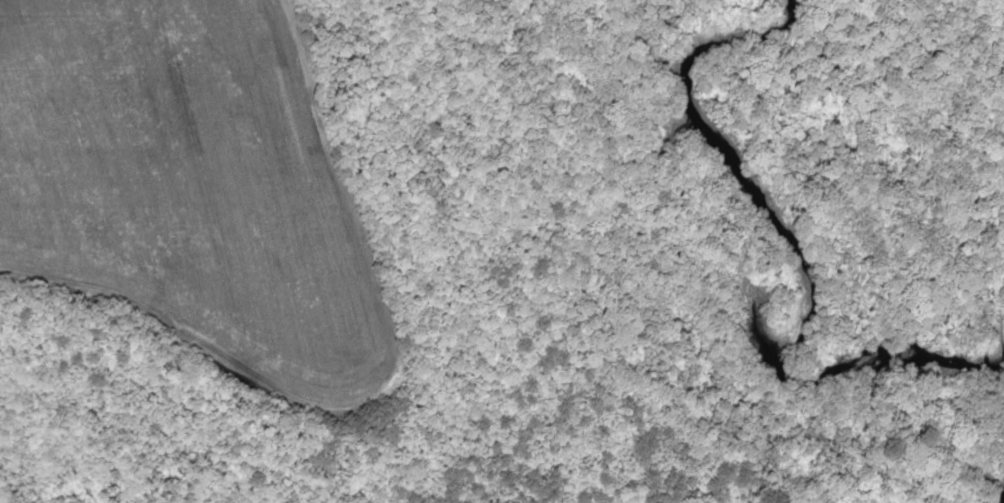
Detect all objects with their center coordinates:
crop: (188, 178)

